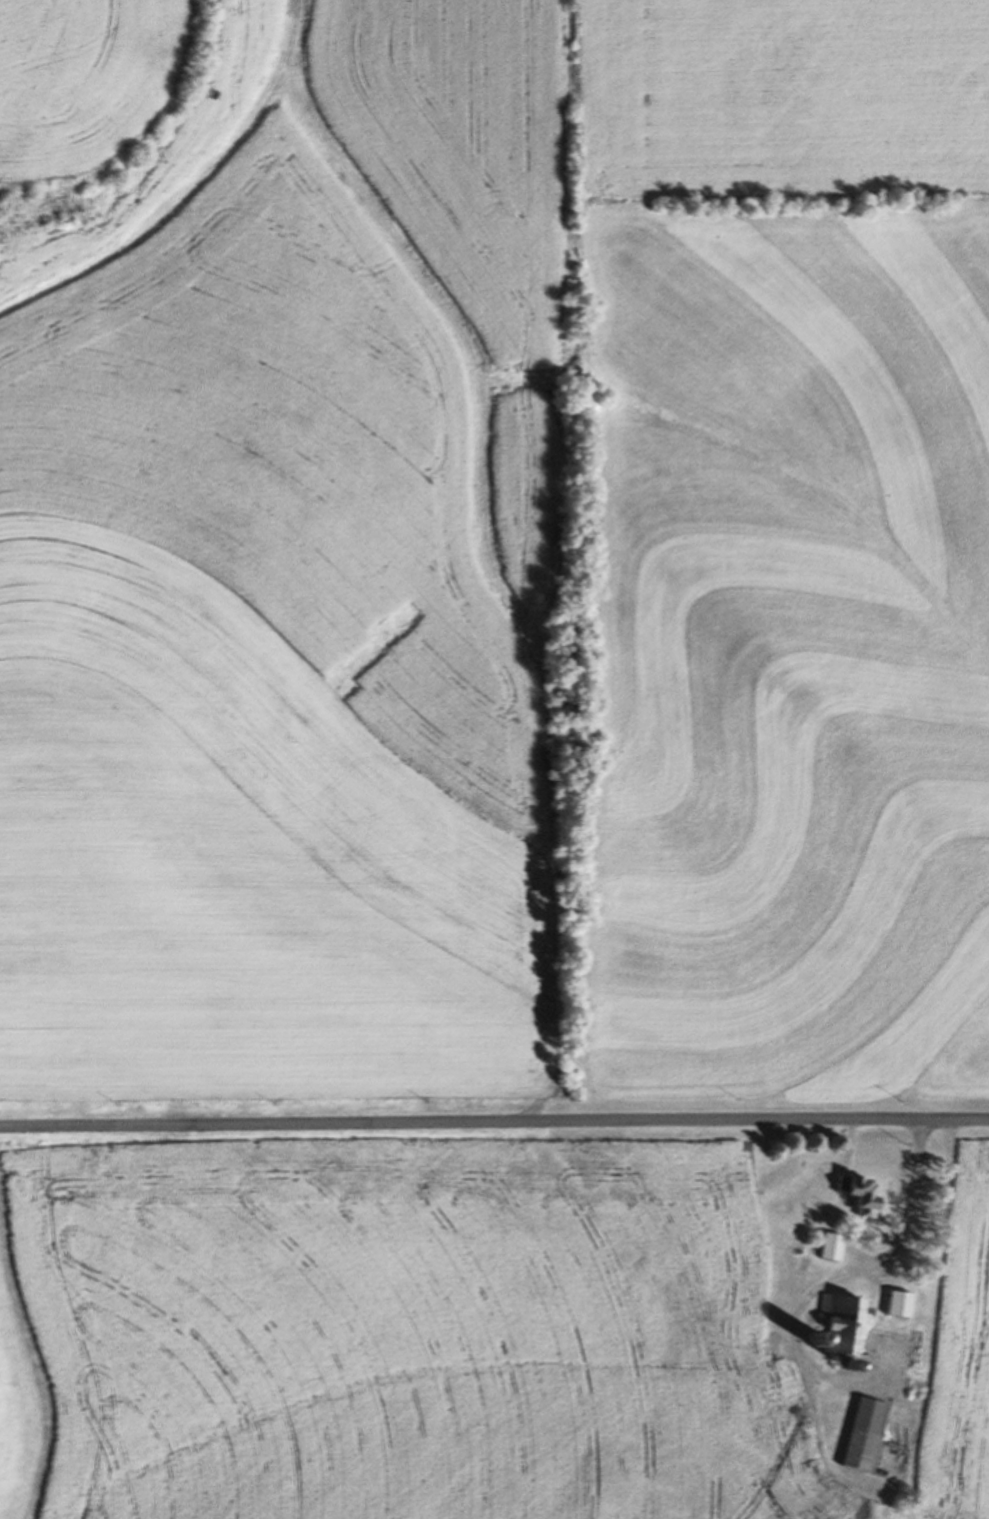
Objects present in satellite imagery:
road: (494, 1121)
building: (858, 1191)
building: (829, 1244)
road: (809, 1291)
building: (897, 1301)
building: (840, 1321)
building: (863, 1433)

